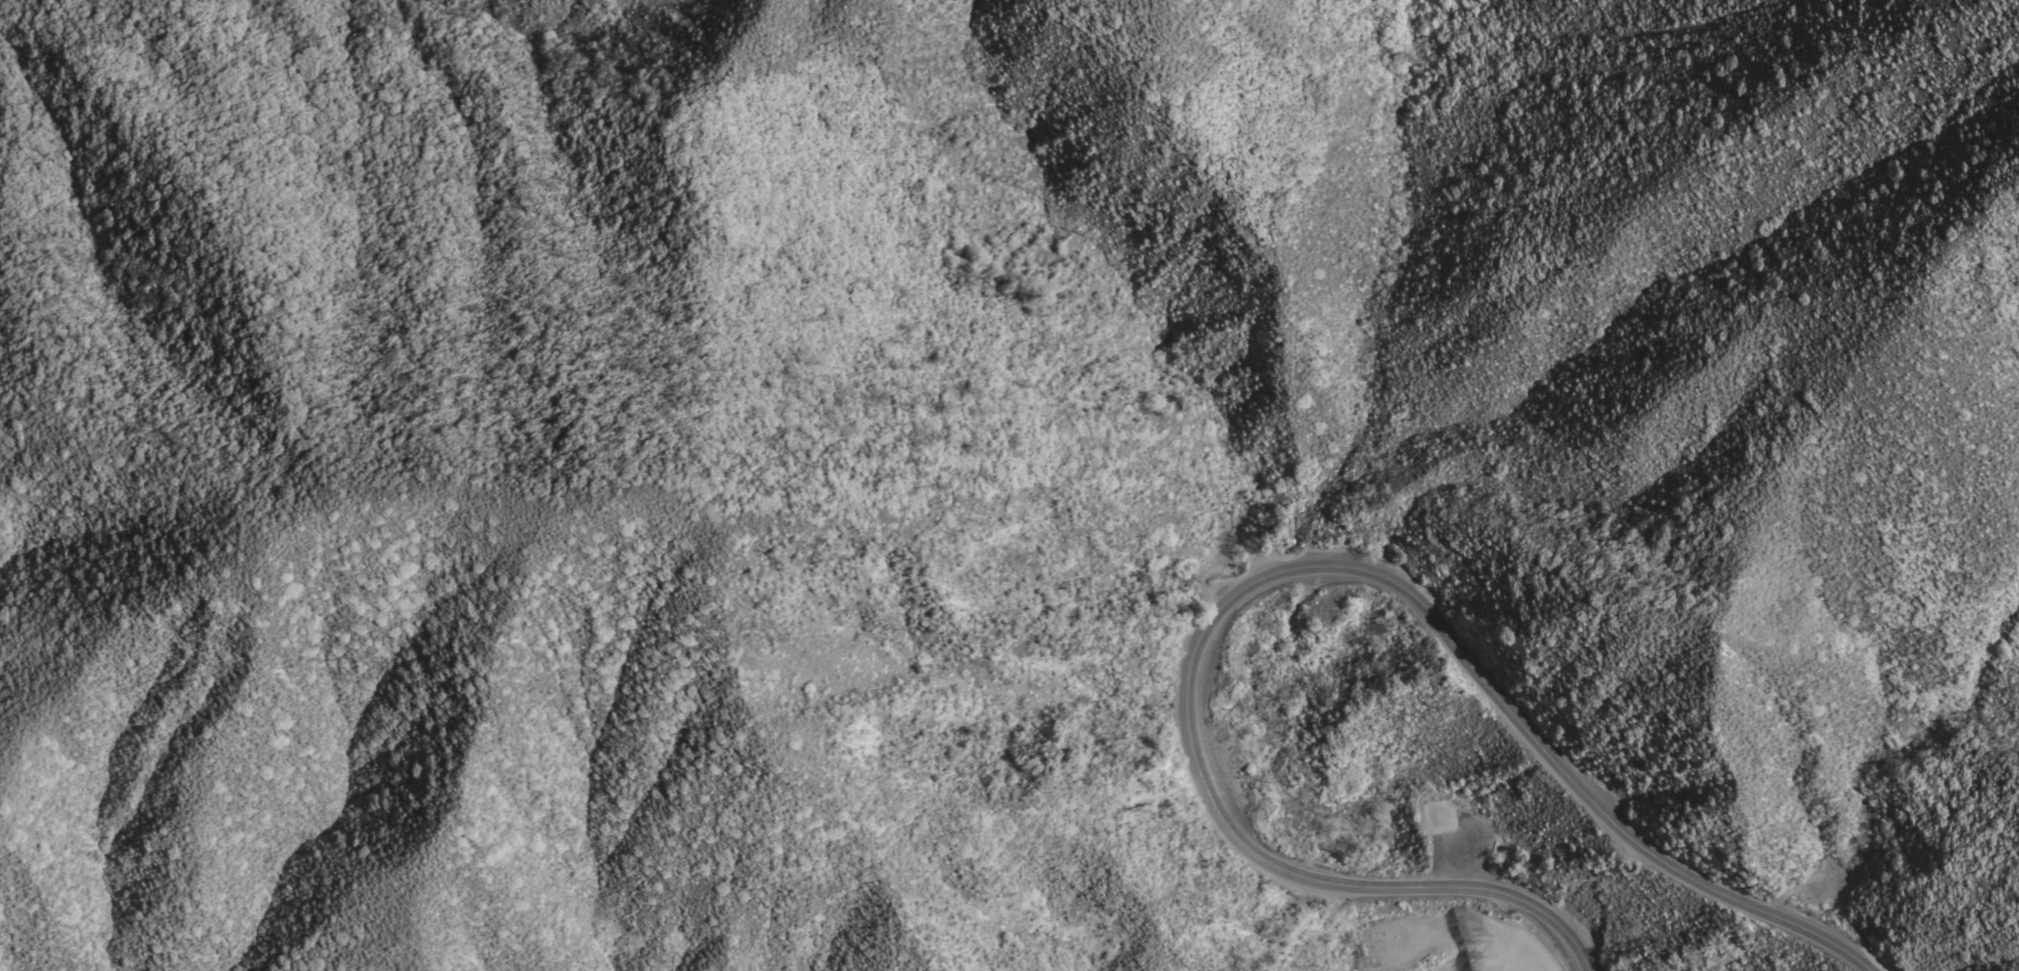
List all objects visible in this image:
road: (1284, 563)
helipad: (1440, 818)

